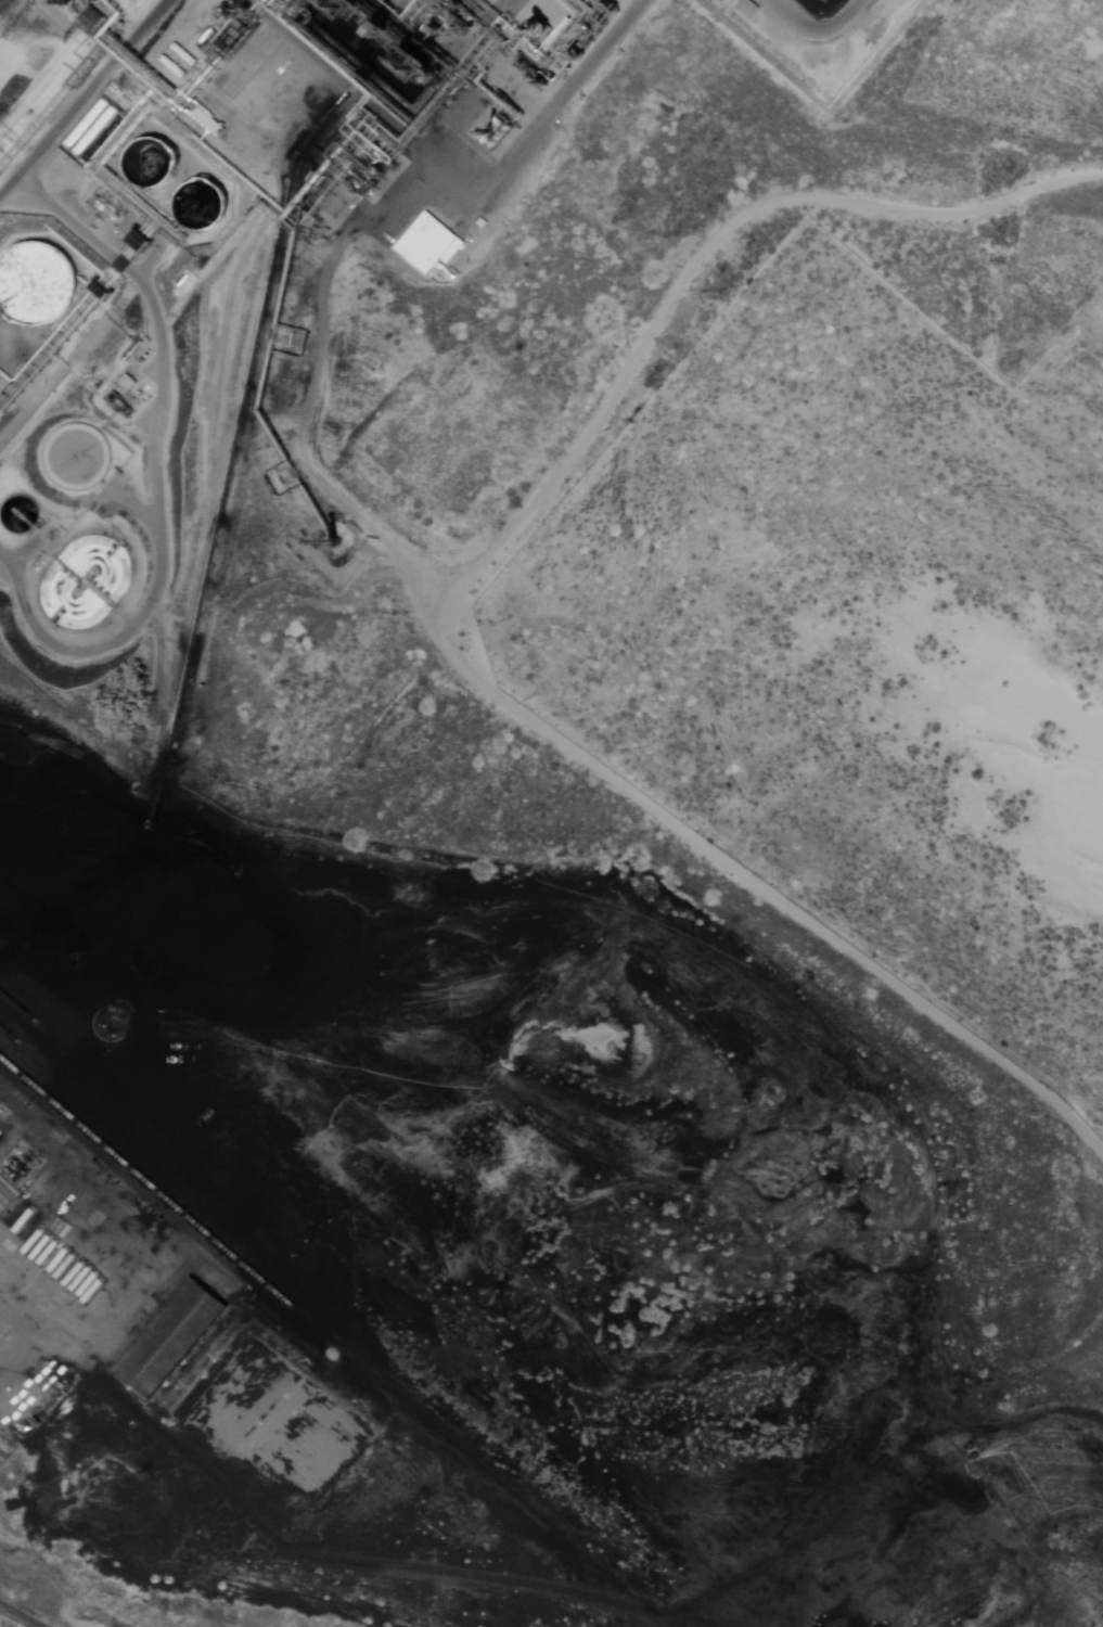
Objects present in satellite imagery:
building: (747, 7)
road: (819, 29)
road: (85, 99)
building: (93, 128)
building: (482, 223)
building: (428, 245)
building: (37, 286)
road: (158, 479)
railway: (323, 1334)
building: (174, 1340)
railway: (315, 1342)

